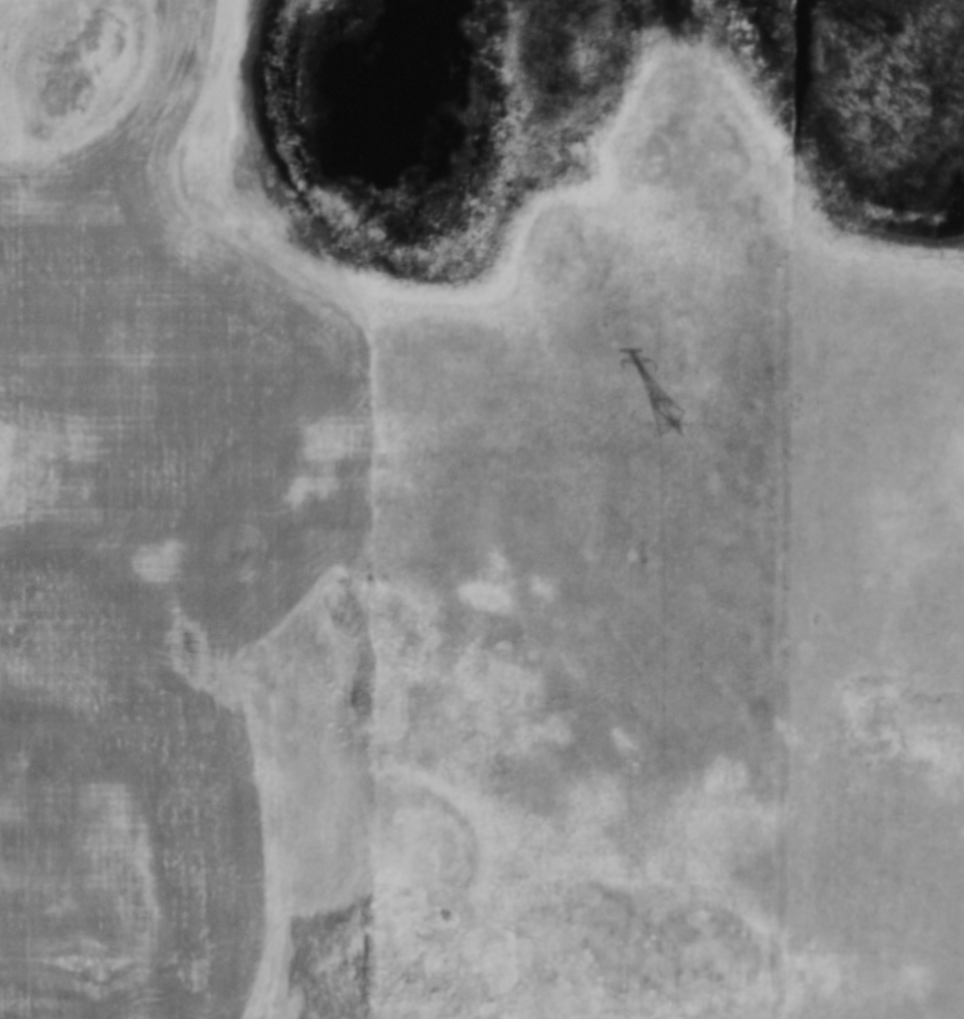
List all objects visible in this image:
power tower: (671, 430)

